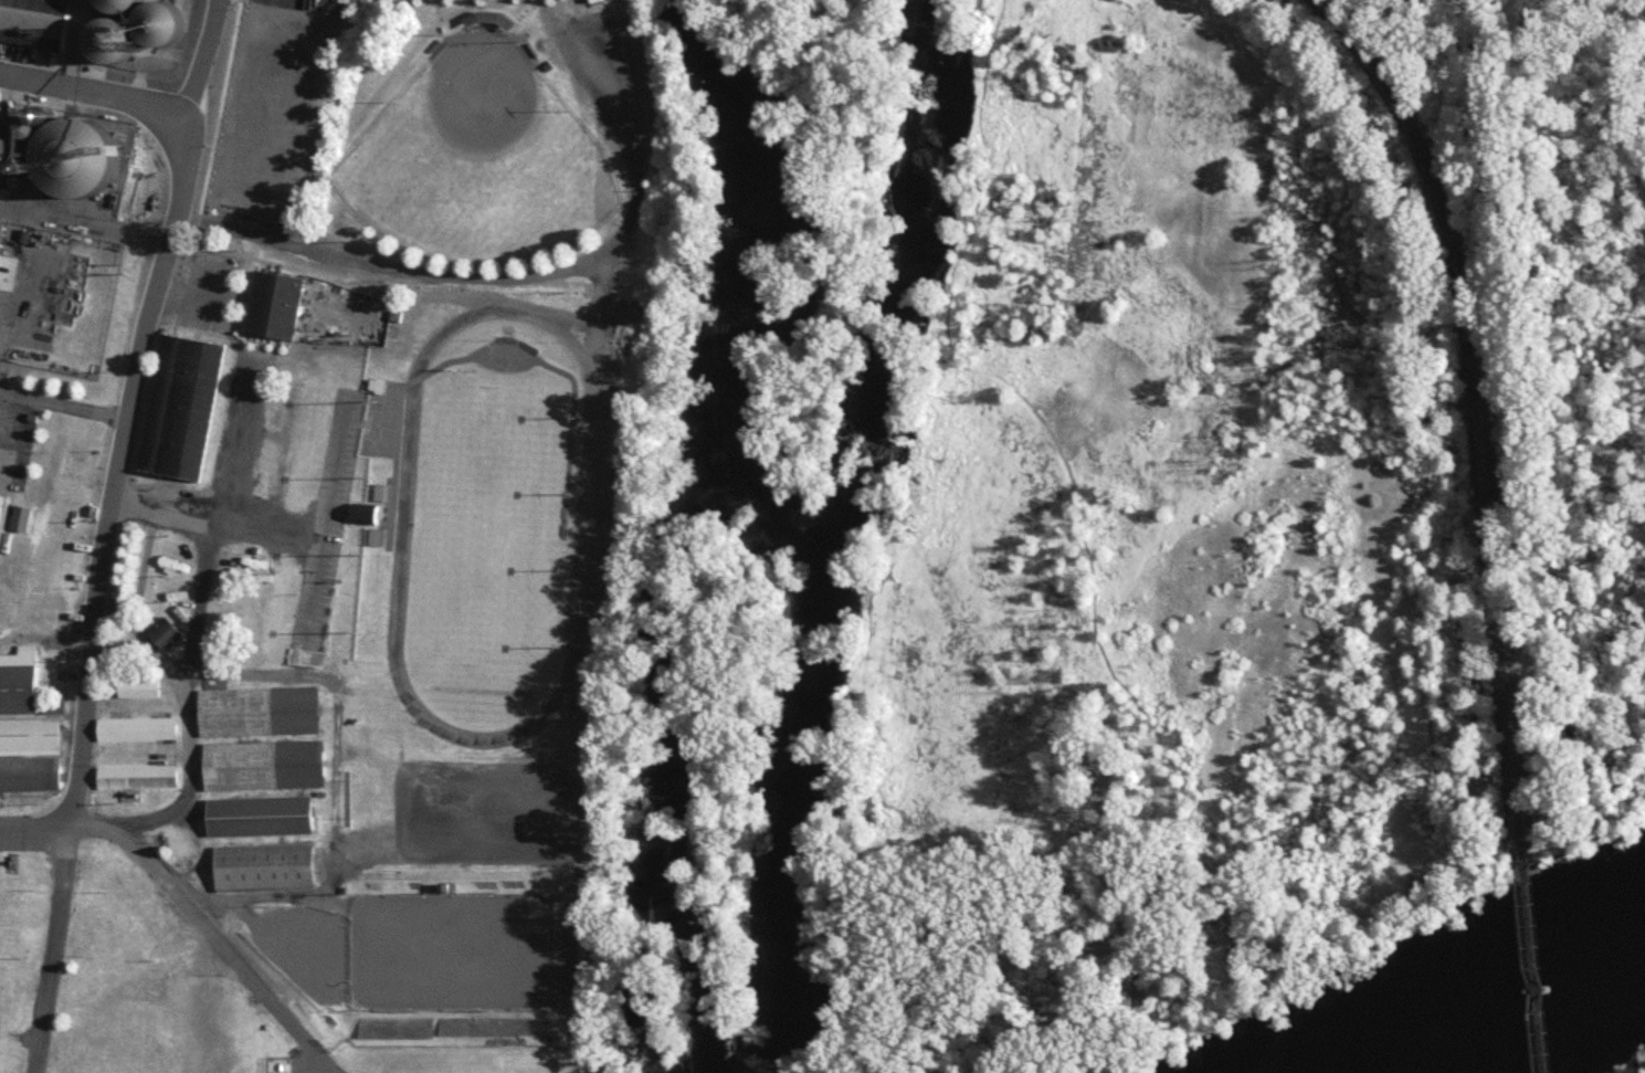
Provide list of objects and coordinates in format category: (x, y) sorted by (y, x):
building: (599, 2)
building: (127, 7)
building: (35, 23)
building: (170, 27)
building: (120, 45)
road: (94, 90)
park: (479, 158)
building: (7, 161)
building: (84, 161)
railway: (1436, 188)
building: (2, 238)
river: (905, 287)
building: (277, 308)
building: (379, 387)
road: (65, 404)
building: (184, 409)
road: (130, 411)
park: (485, 419)
railway: (1481, 450)
building: (366, 516)
building: (4, 520)
road: (201, 520)
river: (788, 526)
track: (494, 527)
building: (380, 540)
park: (486, 541)
building: (171, 641)
railway: (1506, 678)
building: (24, 685)
building: (141, 691)
building: (262, 714)
building: (139, 732)
building: (31, 757)
road: (201, 760)
building: (266, 768)
building: (139, 779)
building: (566, 792)
building: (263, 818)
road: (35, 828)
building: (267, 870)
road: (1273, 918)
road: (52, 950)
road: (228, 958)
railway: (1537, 968)
river: (1549, 1019)

